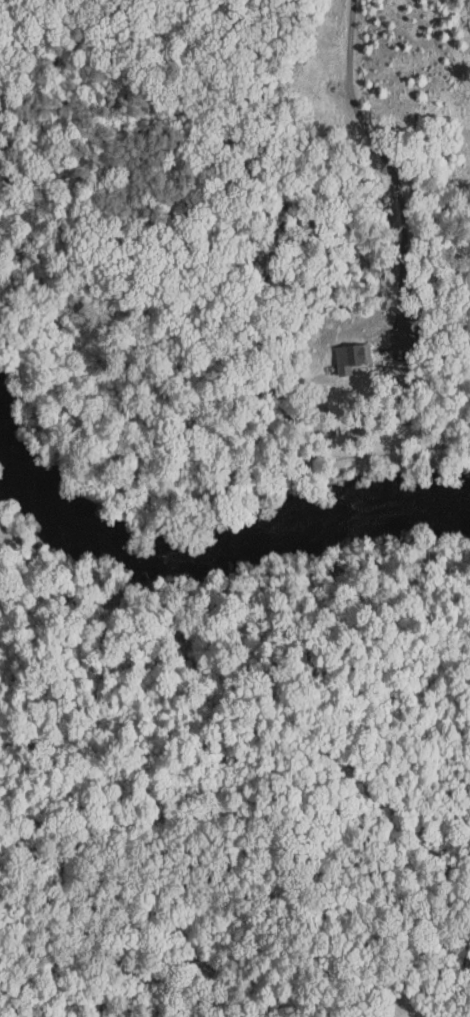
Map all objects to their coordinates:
road: (384, 159)
building: (339, 351)
river: (204, 554)

